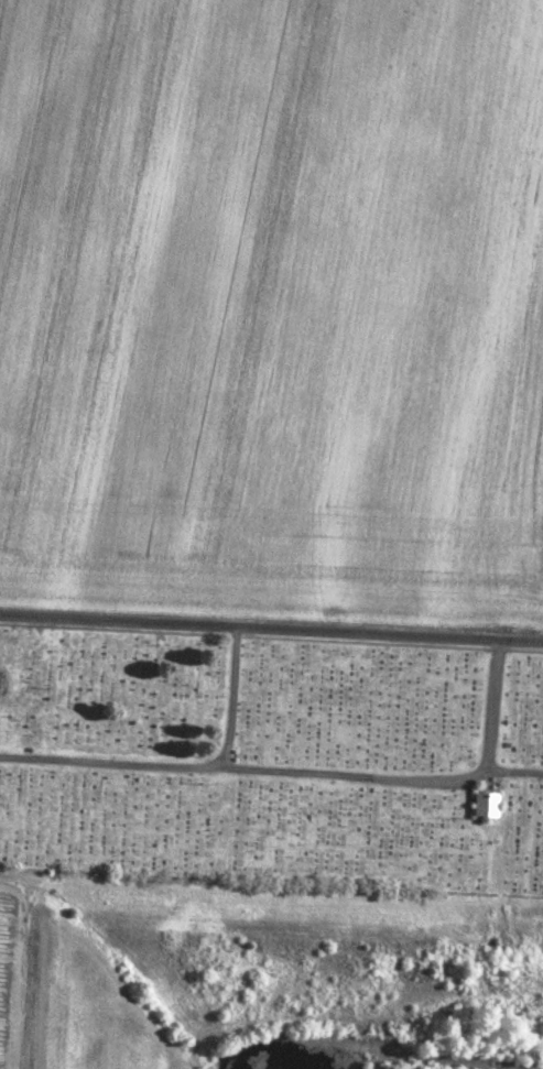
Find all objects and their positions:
crop: (274, 291)
road: (271, 625)
road: (229, 699)
road: (491, 708)
road: (243, 775)
road: (513, 783)
building: (485, 801)
crop: (12, 962)
quarry: (276, 978)

